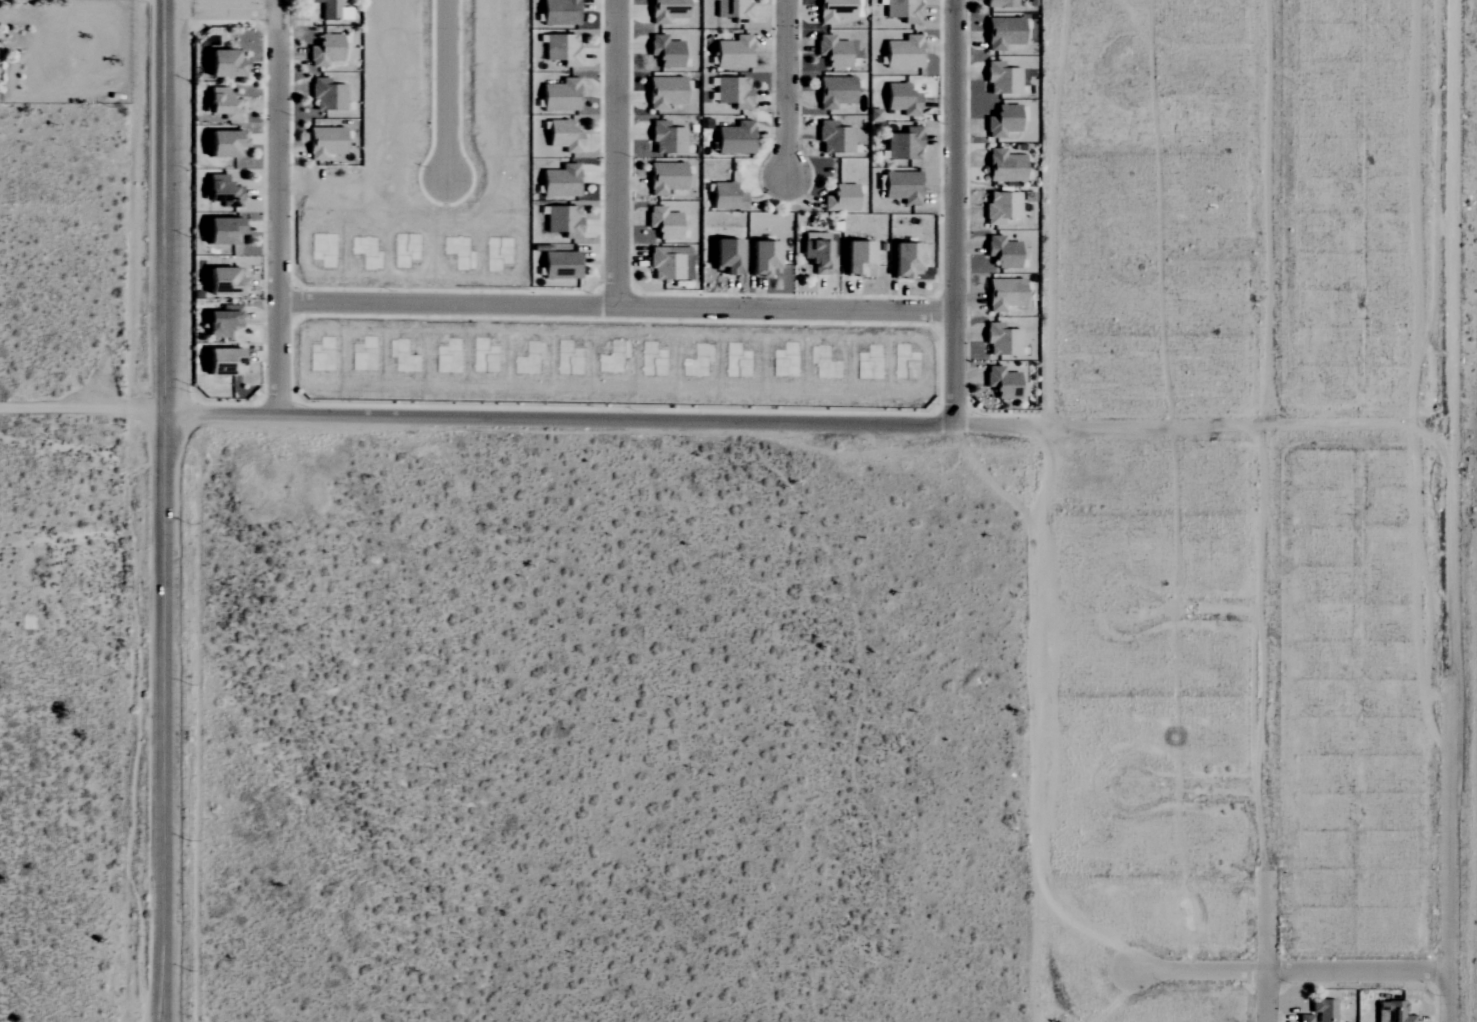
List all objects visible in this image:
road: (166, 3)
building: (1000, 3)
road: (226, 7)
building: (328, 9)
building: (665, 10)
building: (732, 10)
building: (833, 10)
building: (901, 10)
building: (558, 12)
building: (1002, 33)
building: (562, 50)
building: (324, 51)
building: (664, 51)
building: (831, 51)
building: (732, 53)
building: (902, 53)
building: (222, 64)
building: (1001, 79)
road: (788, 87)
road: (449, 88)
building: (663, 92)
building: (732, 92)
building: (834, 92)
building: (327, 95)
building: (559, 96)
building: (900, 99)
building: (222, 104)
building: (1003, 120)
building: (562, 136)
building: (666, 138)
building: (833, 138)
building: (734, 139)
building: (324, 142)
building: (222, 144)
building: (903, 144)
road: (618, 153)
building: (1003, 166)
building: (665, 178)
building: (559, 181)
building: (901, 187)
building: (221, 192)
building: (724, 197)
building: (839, 198)
road: (172, 206)
road: (280, 207)
building: (1001, 208)
road: (956, 212)
building: (562, 222)
building: (663, 223)
building: (220, 231)
building: (1001, 252)
building: (817, 254)
building: (724, 257)
building: (760, 259)
building: (856, 259)
building: (902, 261)
building: (666, 263)
building: (559, 264)
building: (222, 281)
building: (1003, 294)
road: (618, 306)
building: (222, 321)
building: (1001, 340)
building: (221, 362)
building: (1001, 382)
road: (85, 406)
road: (1270, 407)
road: (563, 419)
road: (998, 425)
road: (1155, 427)
road: (1354, 478)
road: (167, 717)
road: (1263, 917)
road: (1449, 943)
road: (1247, 970)
building: (1394, 1011)
building: (1303, 1018)

